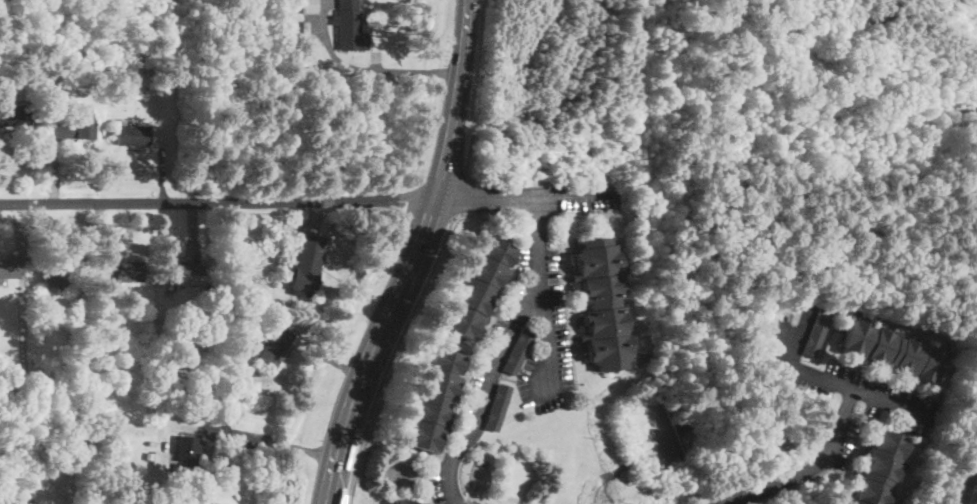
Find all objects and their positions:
building: (309, 6)
building: (291, 10)
building: (349, 26)
building: (138, 63)
building: (90, 66)
road: (407, 70)
building: (13, 113)
building: (73, 126)
building: (131, 135)
road: (466, 159)
road: (464, 193)
road: (523, 196)
road: (217, 202)
road: (580, 211)
road: (535, 214)
road: (413, 257)
building: (225, 259)
building: (251, 259)
building: (307, 264)
building: (10, 268)
building: (119, 272)
building: (183, 275)
building: (59, 276)
building: (475, 287)
road: (562, 300)
building: (599, 305)
building: (139, 306)
building: (194, 306)
building: (161, 314)
road: (403, 327)
road: (546, 334)
building: (816, 334)
building: (226, 338)
building: (275, 347)
road: (496, 351)
building: (517, 351)
building: (891, 352)
road: (474, 358)
road: (851, 386)
building: (430, 400)
building: (497, 407)
building: (34, 424)
building: (151, 442)
road: (270, 442)
building: (185, 454)
building: (161, 460)
road: (810, 466)
building: (879, 469)
railway: (967, 477)
building: (397, 503)
building: (403, 503)

